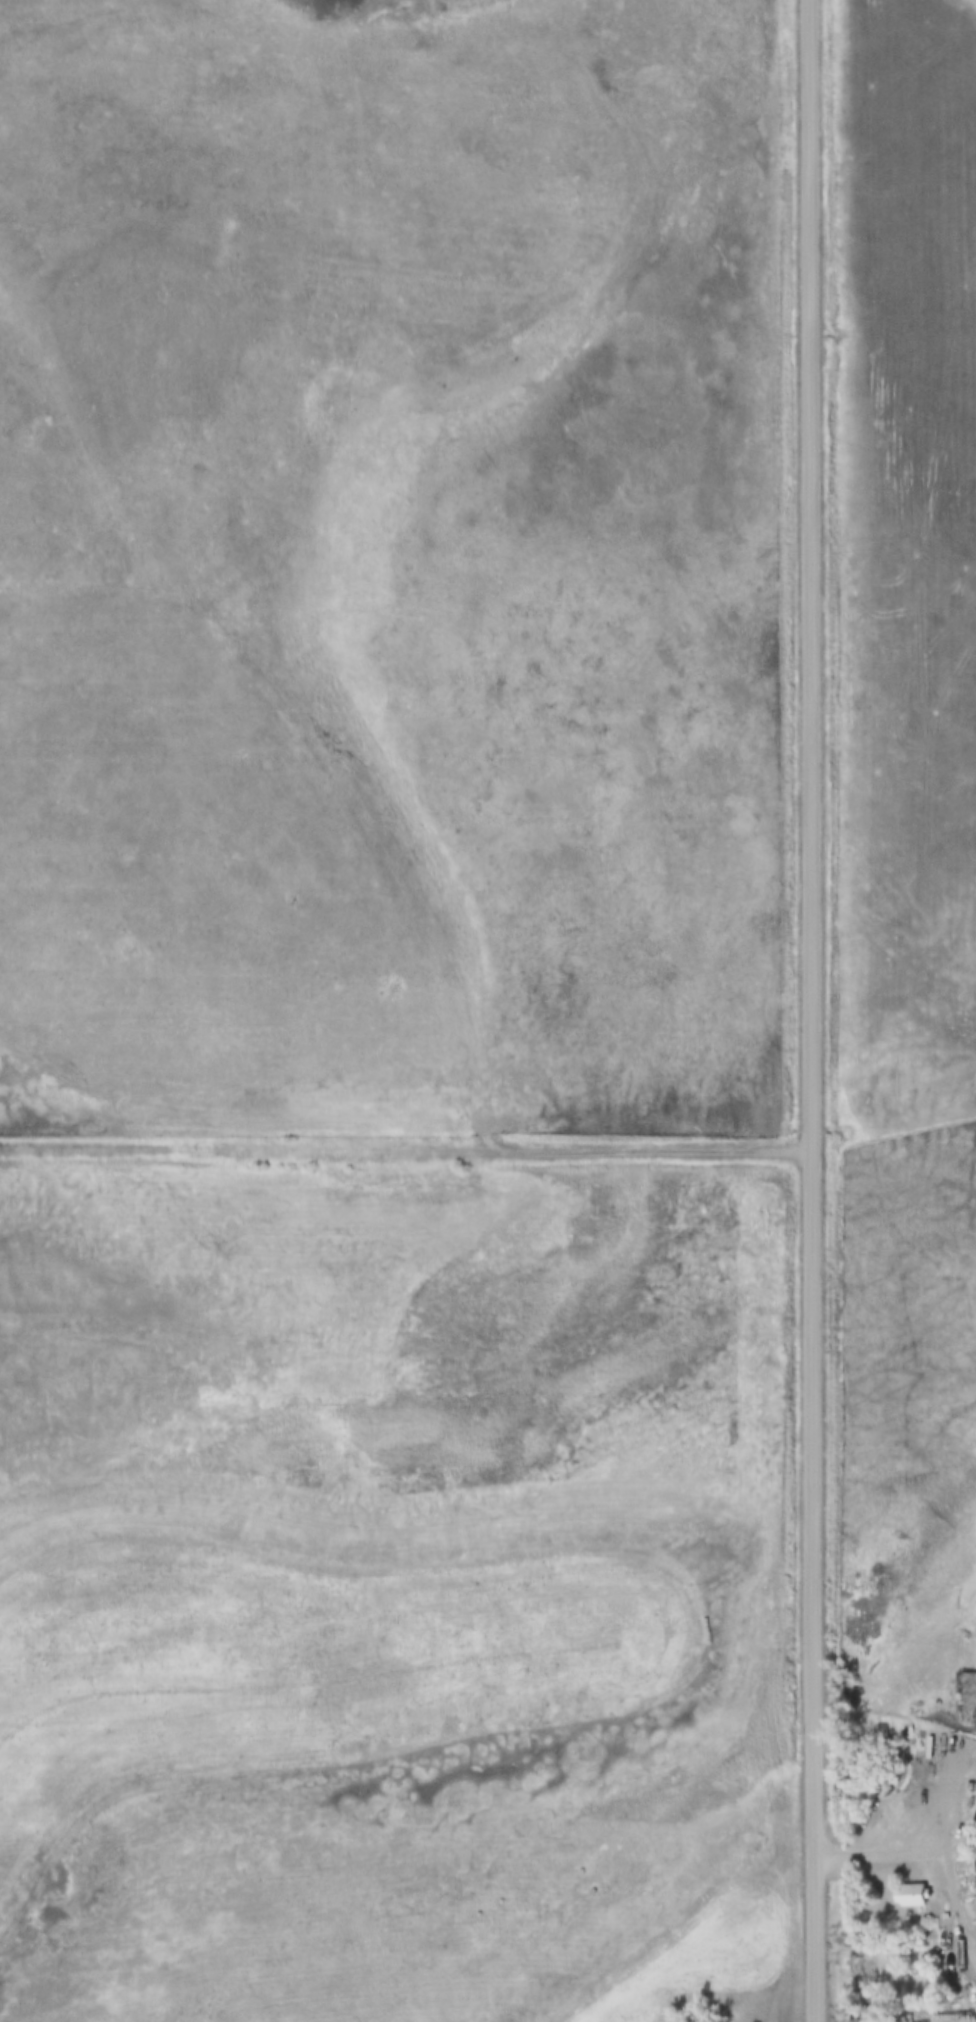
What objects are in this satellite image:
road: (811, 1010)
road: (491, 1135)
road: (405, 1147)
building: (914, 1731)
building: (910, 1754)
road: (922, 1854)
building: (911, 1896)

